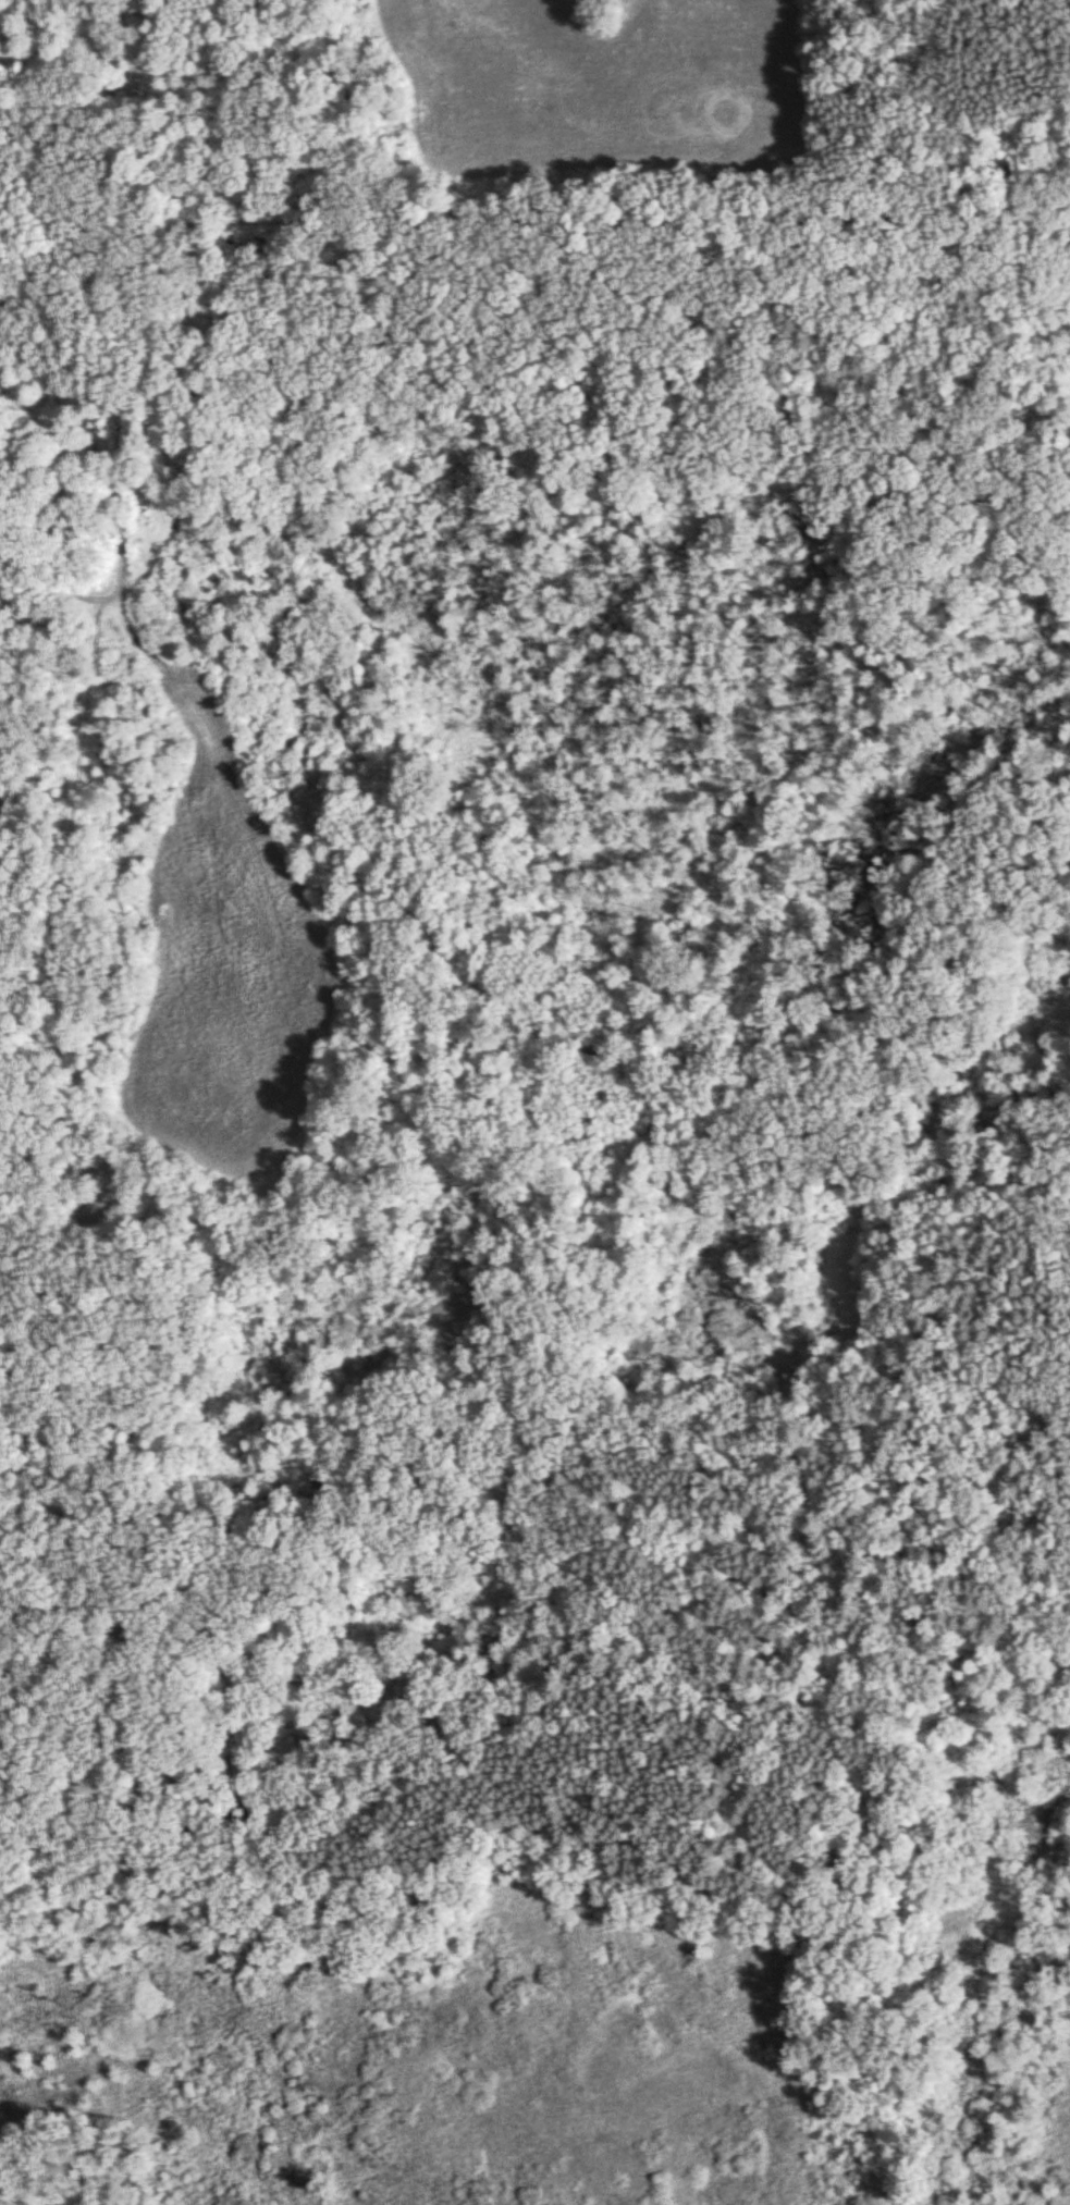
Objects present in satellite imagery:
road: (358, 225)
road: (60, 584)
road: (57, 890)

